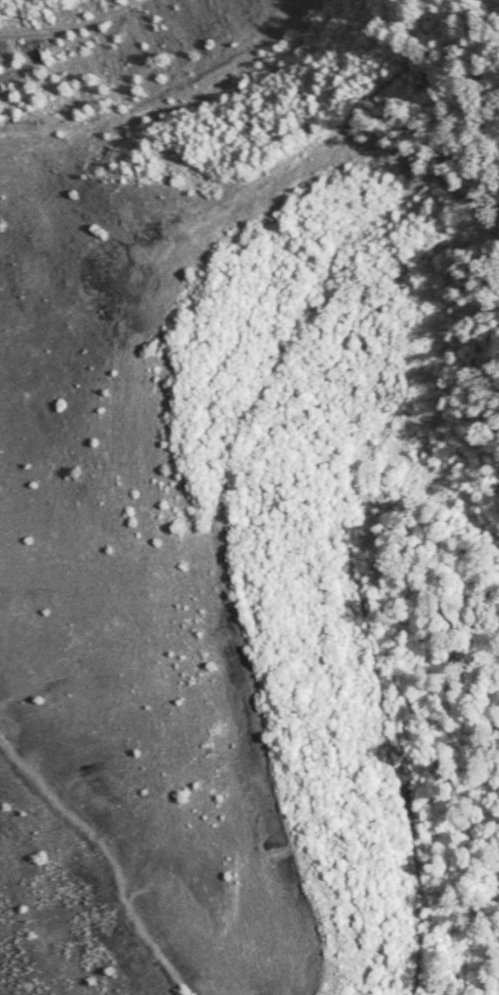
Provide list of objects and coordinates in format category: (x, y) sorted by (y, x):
quarry: (232, 503)

